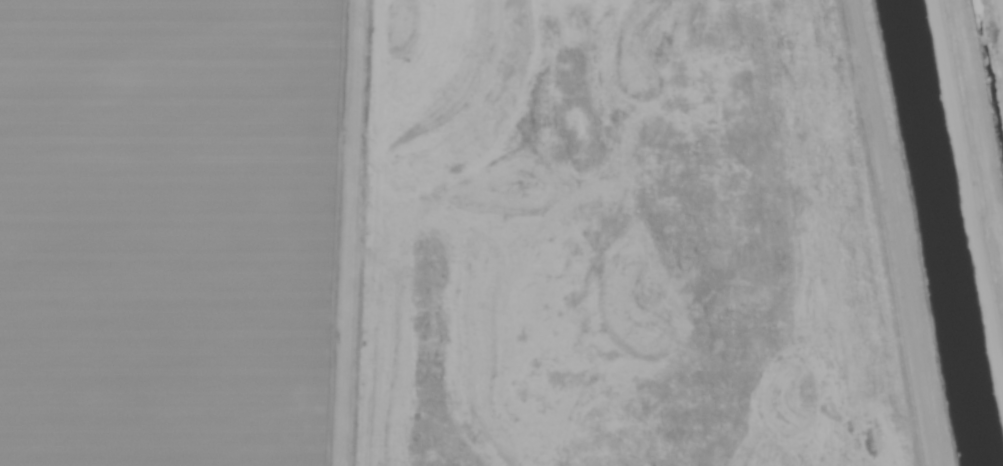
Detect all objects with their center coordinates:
road: (969, 189)

